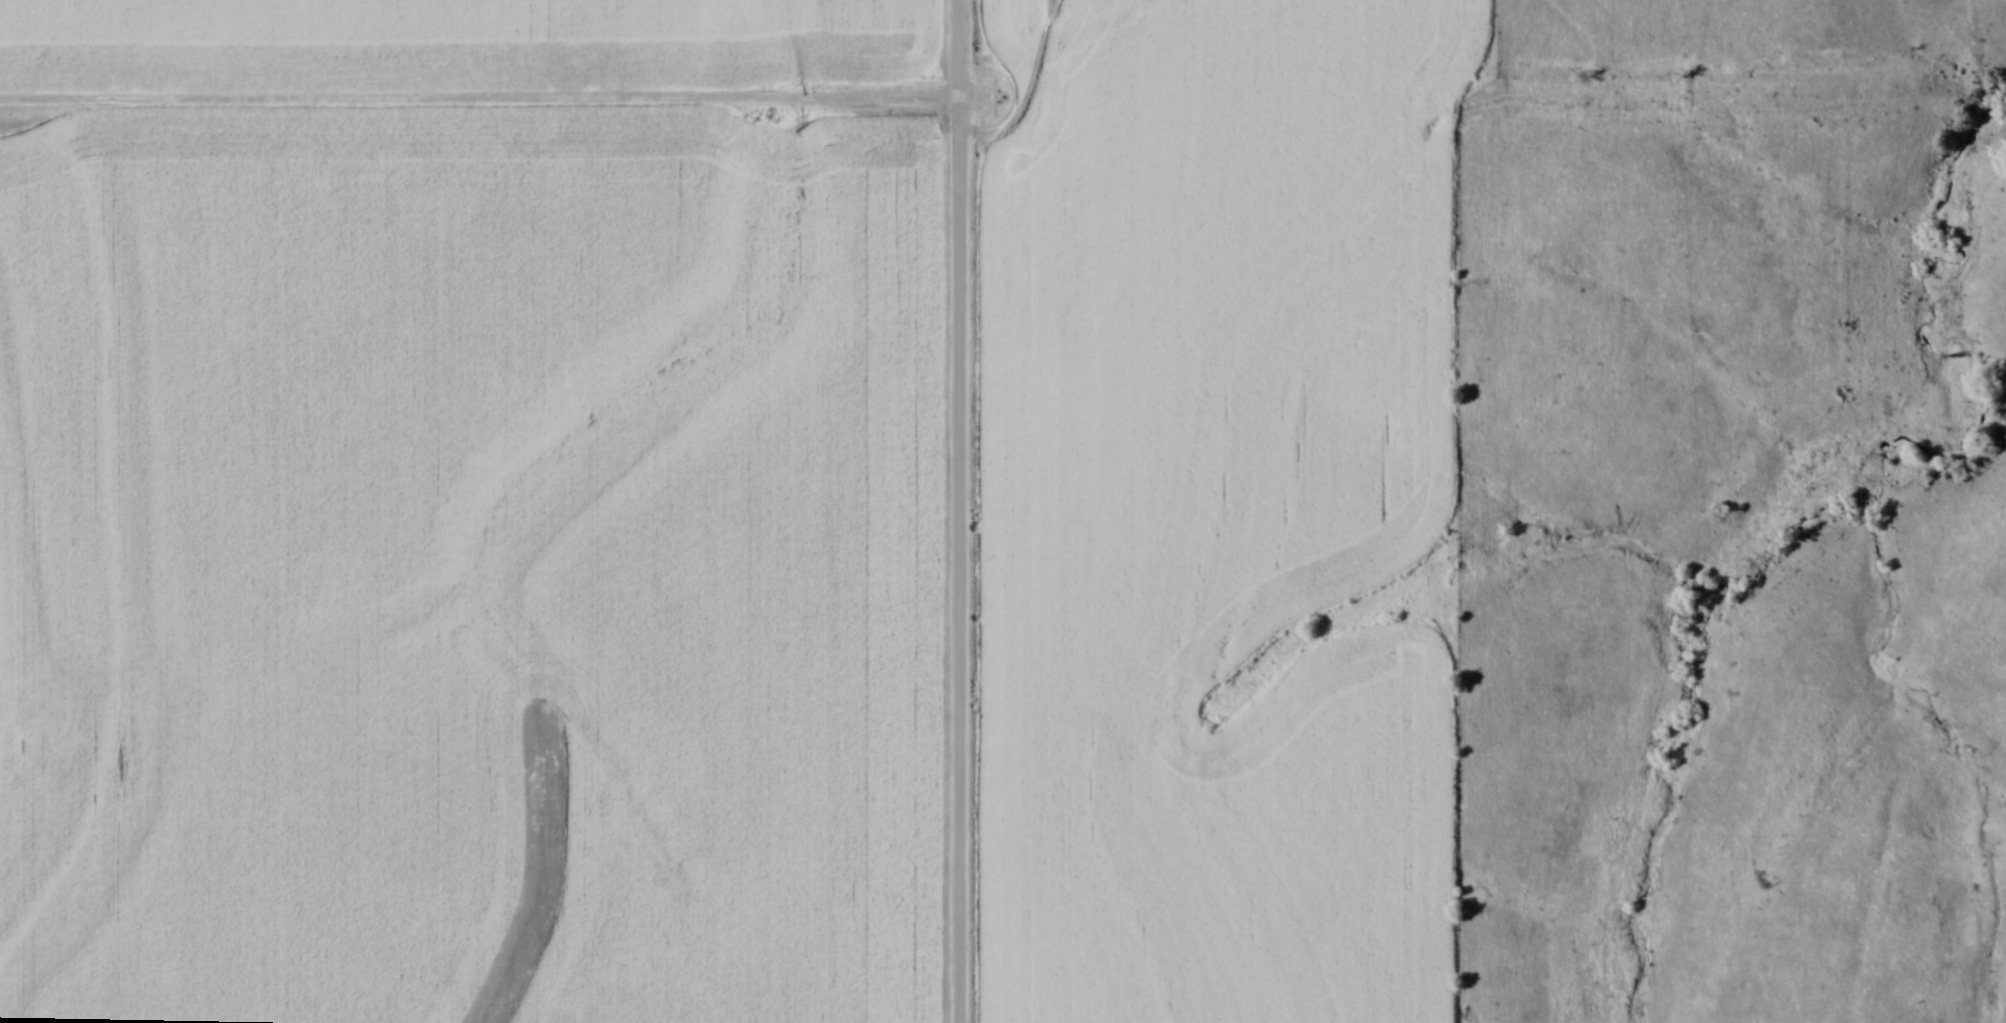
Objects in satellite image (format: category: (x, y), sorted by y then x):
road: (961, 49)
road: (480, 96)
road: (961, 560)

